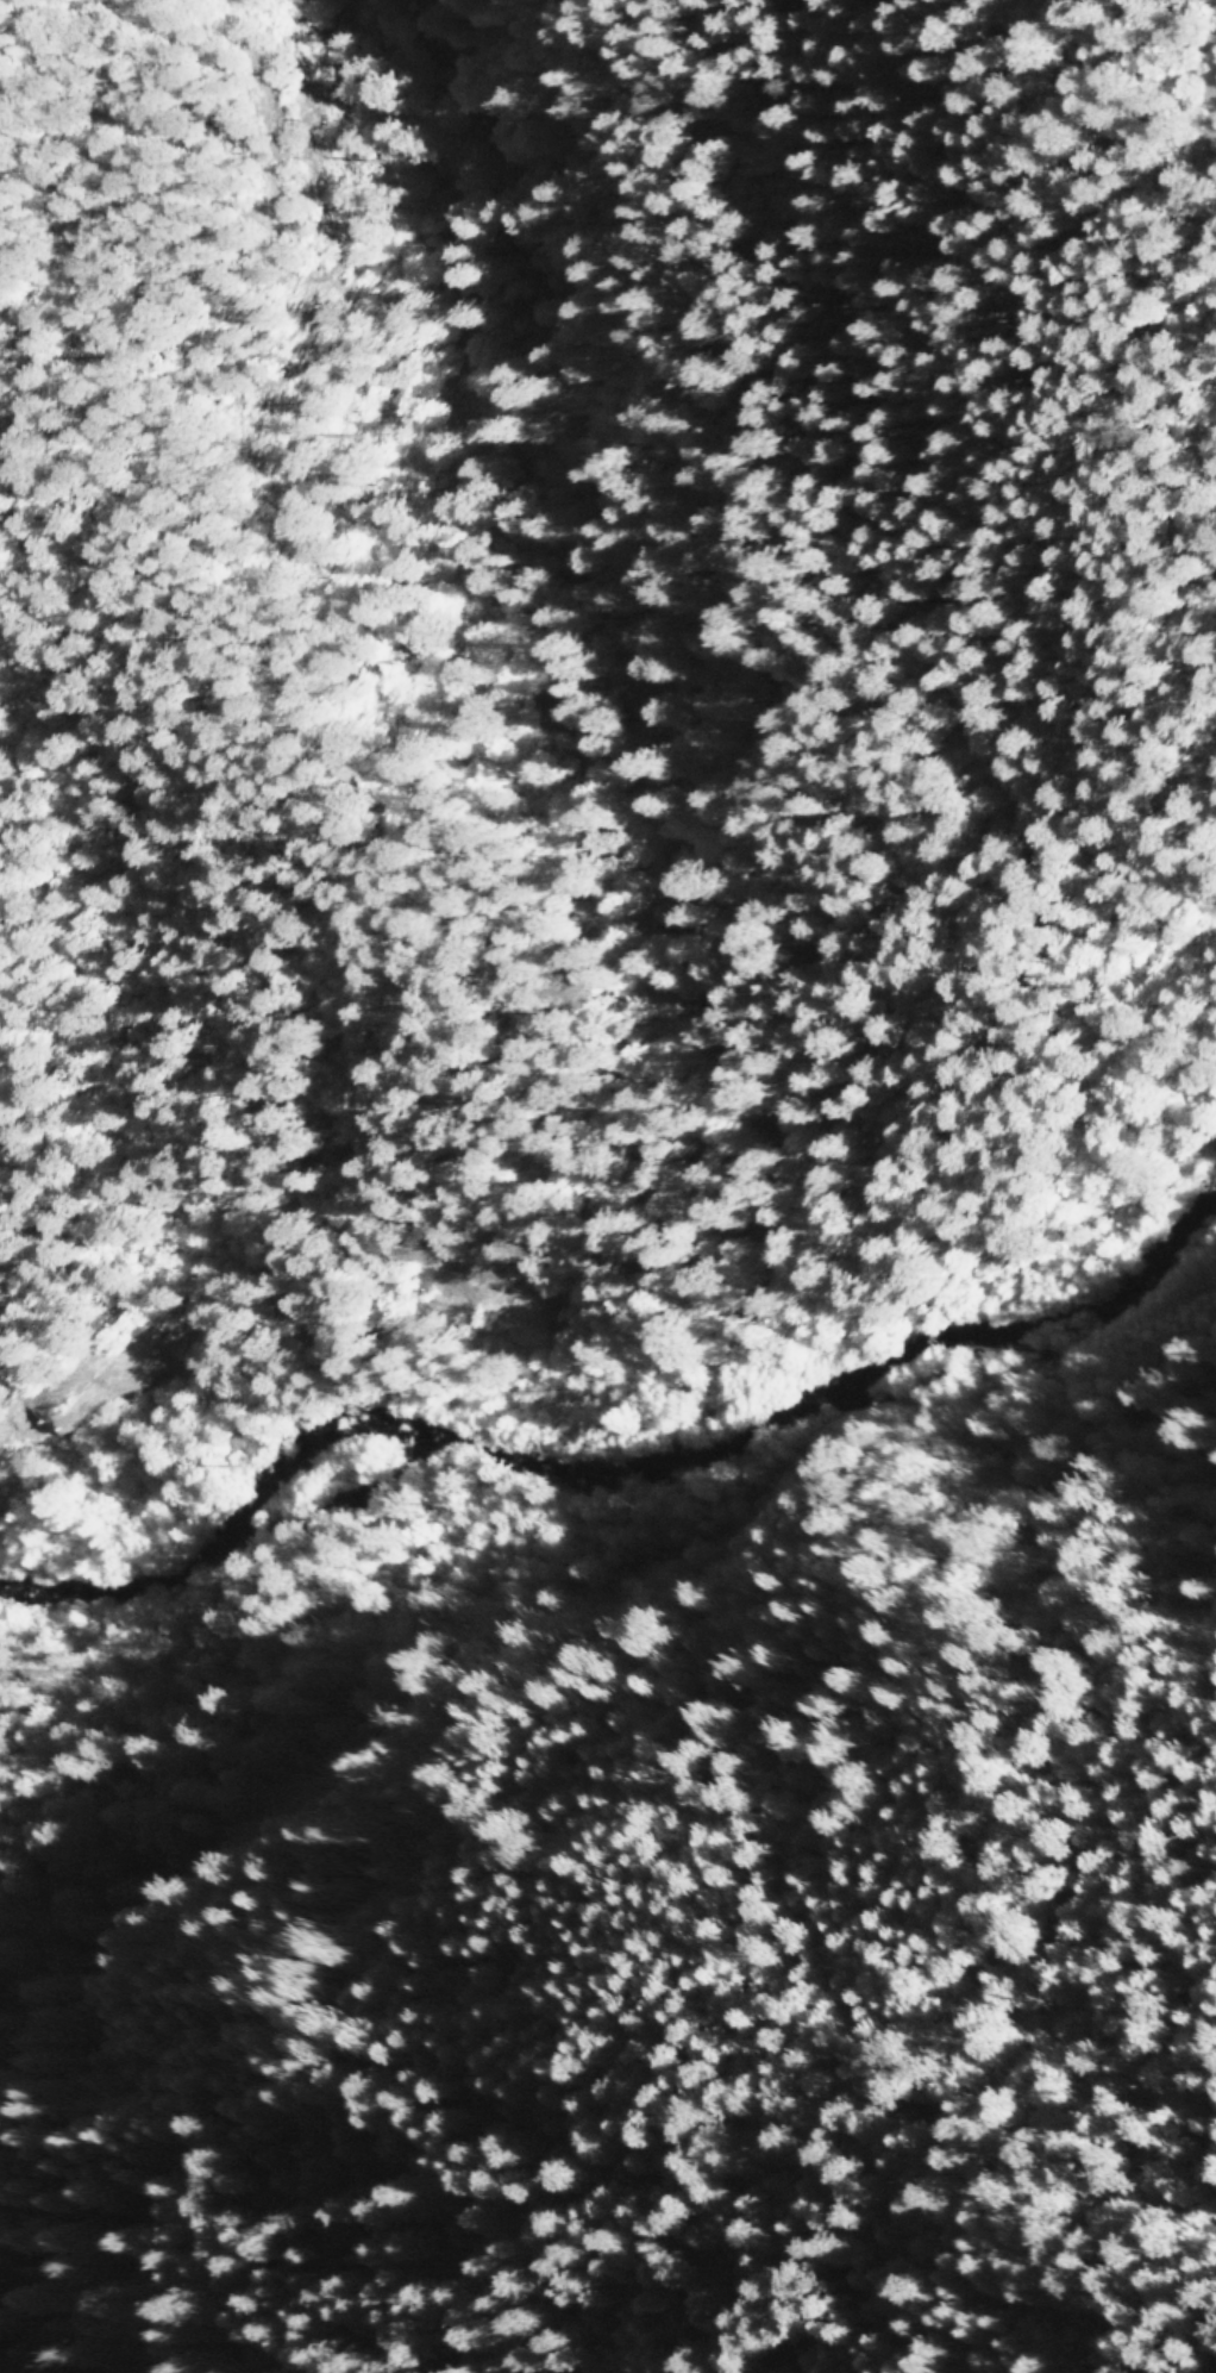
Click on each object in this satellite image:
river: (616, 1461)
road: (564, 2134)
road: (781, 2146)
road: (246, 2185)
road: (989, 2271)
road: (1155, 2290)

